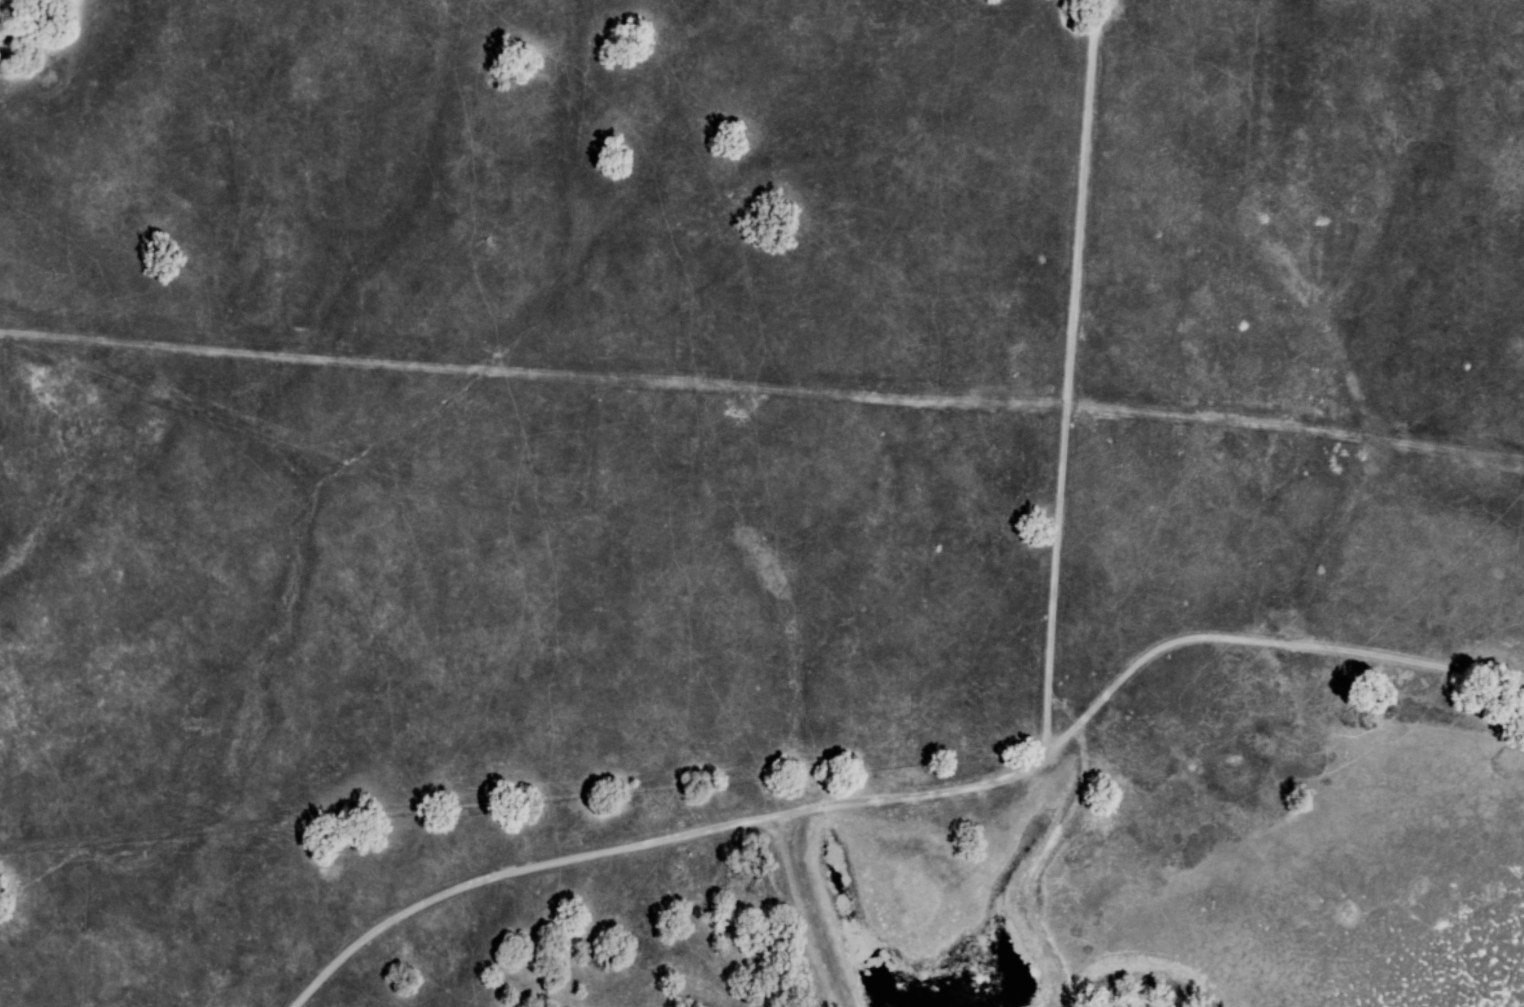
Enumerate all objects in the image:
road: (1070, 380)
road: (1141, 667)
road: (680, 837)

